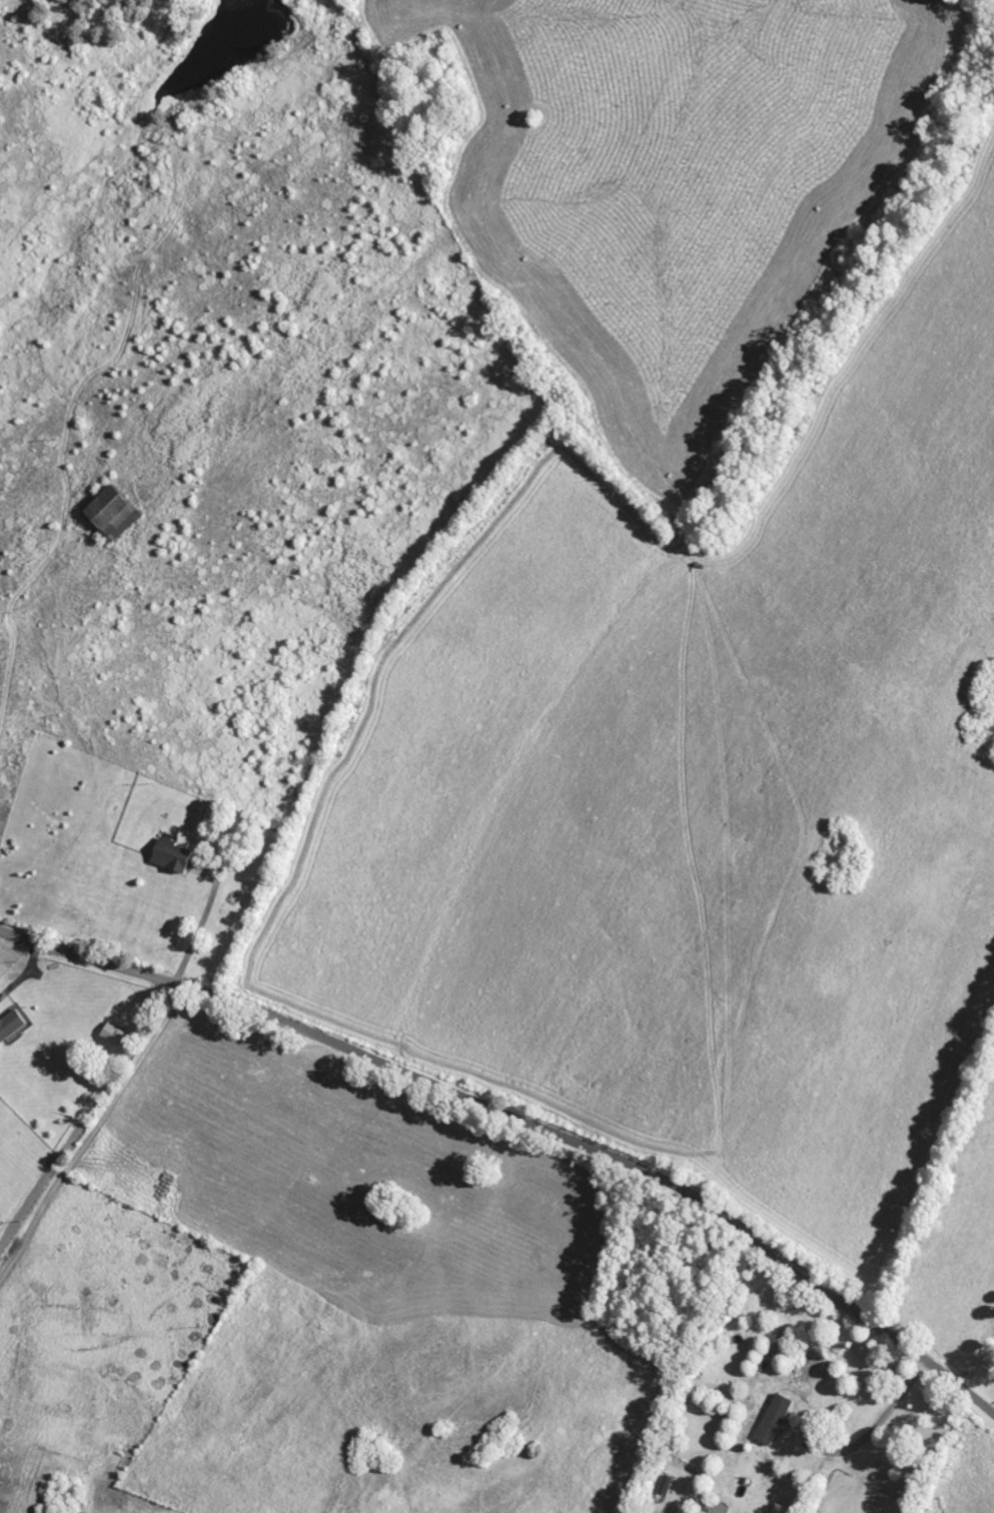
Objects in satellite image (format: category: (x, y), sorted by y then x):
building: (110, 515)
building: (171, 856)
road: (202, 918)
building: (10, 1024)
road: (523, 1115)
road: (89, 1122)
building: (771, 1420)
building: (714, 1507)

